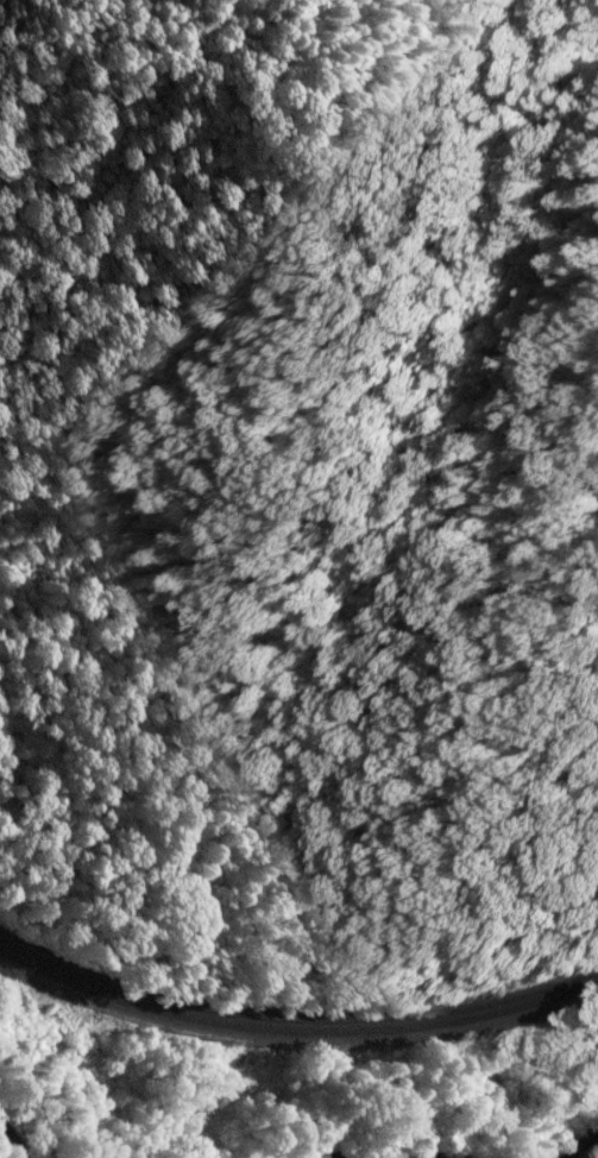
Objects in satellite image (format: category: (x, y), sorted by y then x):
railway: (295, 1019)
railway: (294, 1030)
river: (10, 1144)
river: (583, 1147)

